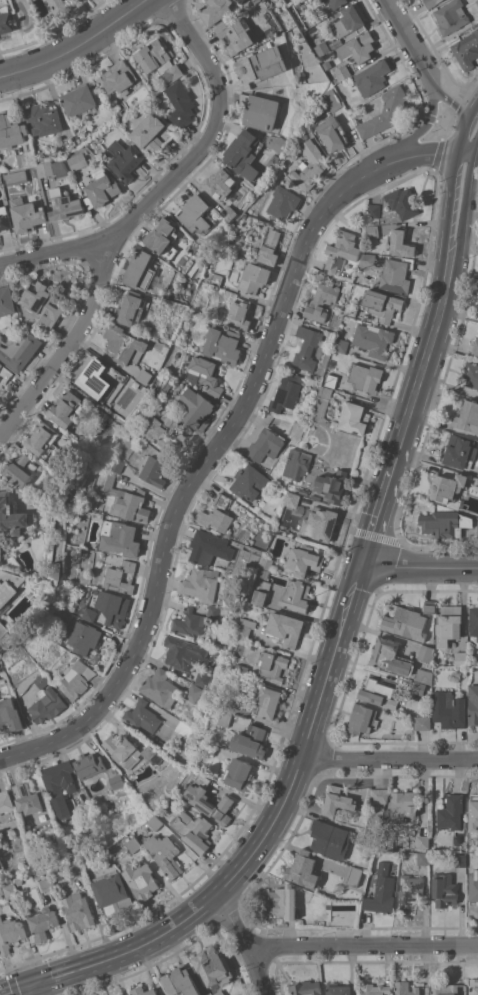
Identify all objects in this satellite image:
building: (240, 1)
building: (477, 1)
building: (431, 2)
building: (333, 4)
building: (59, 5)
building: (215, 10)
building: (451, 16)
road: (396, 20)
building: (348, 21)
building: (6, 22)
building: (237, 33)
building: (335, 43)
road: (75, 46)
building: (358, 47)
building: (321, 48)
building: (466, 49)
road: (418, 58)
building: (158, 60)
building: (261, 65)
building: (342, 72)
building: (372, 76)
building: (118, 77)
building: (79, 98)
building: (332, 99)
road: (446, 99)
building: (180, 104)
building: (113, 105)
building: (259, 110)
building: (385, 112)
road: (473, 112)
building: (326, 113)
building: (43, 118)
road: (427, 125)
building: (11, 131)
building: (151, 133)
building: (332, 133)
building: (265, 135)
road: (464, 135)
building: (69, 141)
building: (276, 142)
road: (477, 150)
road: (467, 152)
building: (244, 153)
road: (425, 153)
building: (275, 157)
building: (26, 158)
building: (124, 159)
building: (78, 161)
building: (309, 165)
building: (53, 168)
road: (174, 174)
building: (261, 175)
building: (15, 176)
building: (220, 182)
building: (101, 189)
building: (402, 201)
building: (282, 202)
building: (64, 205)
building: (373, 209)
building: (229, 212)
building: (27, 214)
building: (197, 214)
building: (4, 218)
building: (372, 228)
road: (446, 230)
road: (465, 234)
building: (163, 237)
building: (401, 242)
building: (269, 247)
building: (341, 251)
building: (140, 269)
building: (390, 271)
building: (253, 277)
building: (215, 278)
building: (347, 286)
building: (6, 300)
building: (322, 300)
building: (42, 303)
building: (382, 304)
building: (130, 308)
building: (351, 309)
building: (238, 315)
building: (374, 339)
building: (122, 343)
building: (222, 344)
building: (342, 345)
building: (308, 346)
building: (475, 346)
road: (68, 347)
building: (20, 350)
building: (1, 364)
building: (204, 373)
building: (471, 374)
building: (365, 377)
building: (143, 378)
building: (331, 379)
building: (98, 384)
building: (167, 386)
building: (286, 391)
road: (412, 402)
building: (321, 406)
building: (65, 407)
building: (195, 408)
building: (467, 415)
building: (354, 417)
building: (334, 423)
building: (161, 428)
building: (75, 431)
building: (40, 436)
building: (265, 444)
building: (458, 450)
building: (297, 462)
building: (116, 464)
building: (19, 469)
road: (199, 469)
building: (153, 471)
building: (249, 481)
building: (332, 485)
building: (447, 486)
building: (303, 490)
building: (316, 496)
building: (123, 498)
building: (292, 499)
building: (216, 513)
building: (11, 514)
building: (320, 523)
building: (445, 523)
building: (477, 530)
building: (119, 537)
building: (209, 546)
building: (247, 554)
building: (304, 559)
building: (266, 562)
road: (420, 566)
building: (119, 577)
building: (200, 583)
building: (9, 586)
building: (262, 591)
building: (297, 595)
building: (429, 605)
building: (113, 607)
building: (213, 612)
building: (88, 614)
building: (473, 620)
building: (188, 622)
building: (406, 622)
building: (448, 624)
building: (245, 627)
building: (285, 628)
building: (5, 631)
building: (84, 636)
building: (219, 645)
building: (254, 645)
building: (184, 653)
building: (426, 653)
building: (215, 656)
building: (390, 656)
building: (460, 658)
building: (272, 665)
building: (241, 670)
building: (424, 675)
building: (75, 679)
building: (202, 679)
building: (159, 687)
building: (418, 687)
building: (192, 692)
building: (377, 692)
building: (45, 700)
building: (267, 700)
building: (473, 704)
building: (232, 709)
building: (448, 709)
building: (10, 714)
building: (142, 716)
building: (362, 718)
building: (422, 722)
building: (182, 728)
building: (164, 731)
building: (250, 740)
building: (158, 742)
building: (209, 747)
building: (122, 750)
building: (151, 753)
road: (389, 759)
building: (88, 767)
building: (238, 773)
building: (116, 780)
building: (59, 786)
building: (379, 795)
building: (29, 798)
building: (198, 799)
building: (337, 800)
building: (6, 801)
road: (284, 803)
building: (403, 804)
building: (474, 810)
building: (451, 812)
building: (156, 821)
building: (194, 830)
building: (330, 838)
building: (365, 840)
building: (422, 841)
building: (134, 844)
building: (117, 848)
building: (164, 853)
building: (423, 857)
building: (460, 860)
building: (303, 869)
building: (352, 875)
building: (19, 880)
building: (141, 880)
building: (48, 883)
building: (473, 884)
building: (112, 889)
building: (444, 889)
building: (11, 890)
building: (338, 890)
building: (381, 890)
building: (409, 891)
building: (1, 892)
building: (282, 901)
building: (78, 909)
building: (44, 917)
building: (10, 932)
road: (245, 944)
road: (362, 945)
building: (212, 965)
building: (181, 980)
building: (473, 986)
building: (161, 988)
building: (305, 988)
building: (337, 988)
building: (374, 988)
building: (405, 988)
building: (445, 988)
road: (17, 990)
road: (31, 990)
building: (142, 991)
building: (219, 992)

